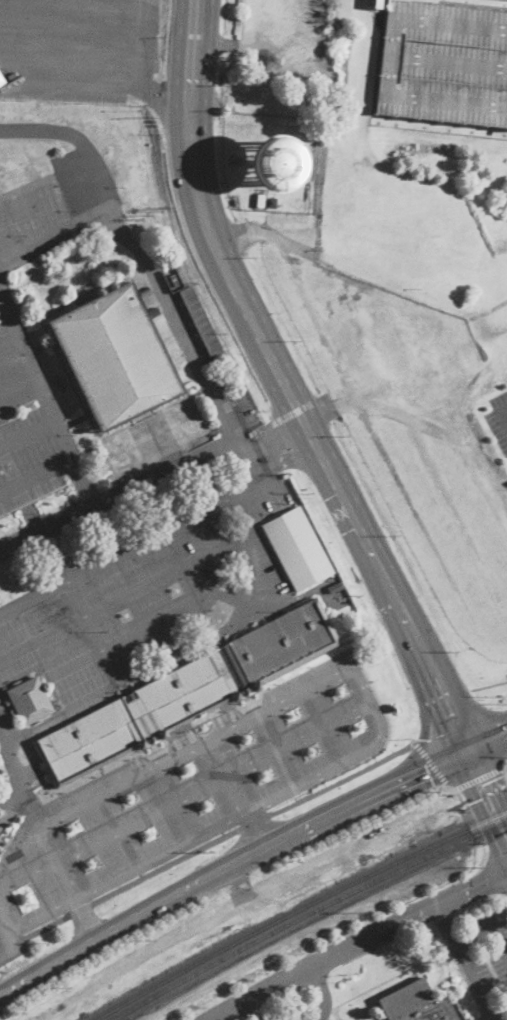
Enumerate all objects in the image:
road: (71, 26)
road: (141, 43)
road: (70, 48)
parking lot: (78, 49)
building: (442, 62)
parking garage: (442, 62)
road: (69, 82)
road: (165, 94)
road: (80, 141)
building: (274, 163)
water tower: (278, 168)
building: (7, 202)
building: (272, 203)
road: (55, 244)
building: (144, 290)
building: (152, 309)
building: (200, 320)
road: (181, 332)
road: (10, 339)
building: (115, 357)
road: (19, 383)
road: (285, 387)
road: (47, 394)
building: (234, 404)
road: (295, 410)
building: (249, 412)
road: (505, 415)
road: (29, 433)
road: (277, 442)
building: (130, 452)
road: (281, 453)
road: (249, 461)
road: (37, 475)
road: (121, 492)
road: (130, 548)
building: (298, 550)
road: (53, 556)
building: (334, 586)
road: (330, 676)
building: (186, 692)
building: (29, 701)
traffic signals: (449, 714)
road: (494, 731)
traffic signals: (504, 735)
road: (487, 742)
road: (298, 743)
road: (431, 764)
road: (506, 767)
building: (1, 770)
traffic signals: (428, 770)
road: (478, 777)
road: (339, 778)
traffic signals: (482, 783)
road: (487, 795)
road: (83, 802)
building: (417, 818)
road: (471, 820)
road: (253, 821)
road: (117, 830)
road: (165, 865)
road: (230, 865)
road: (124, 868)
traffic signals: (487, 881)
road: (64, 883)
road: (237, 885)
railway: (296, 908)
railway: (305, 912)
parking lot: (217, 919)
road: (7, 924)
road: (205, 924)
road: (448, 926)
railway: (231, 937)
road: (359, 943)
road: (8, 946)
road: (465, 958)
road: (324, 991)
building: (416, 1004)
railway: (117, 1016)
building: (338, 1019)

